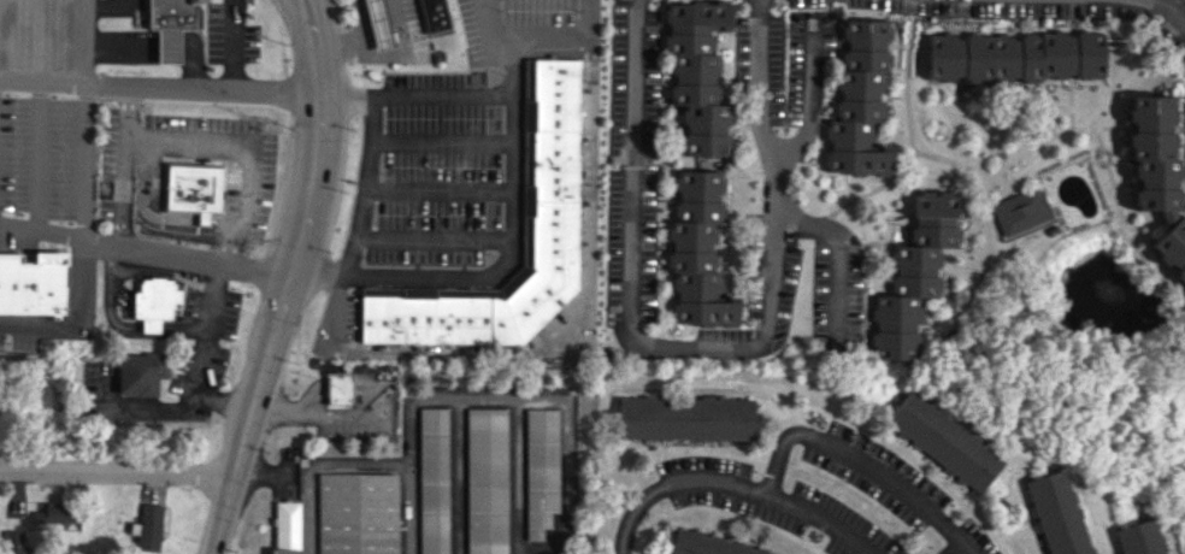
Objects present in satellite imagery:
road: (299, 6)
road: (312, 6)
road: (1172, 6)
road: (104, 7)
parking lot: (119, 7)
road: (341, 13)
building: (175, 14)
building: (435, 16)
building: (379, 23)
road: (556, 31)
parking lot: (231, 33)
gas station: (405, 33)
road: (279, 35)
road: (41, 41)
road: (119, 46)
building: (167, 46)
road: (167, 46)
road: (231, 48)
road: (384, 54)
building: (1013, 55)
road: (193, 63)
building: (696, 73)
road: (41, 90)
road: (199, 90)
road: (444, 95)
road: (810, 100)
building: (859, 100)
road: (81, 119)
parking lot: (33, 124)
road: (40, 142)
road: (249, 142)
road: (442, 142)
building: (1155, 152)
road: (370, 157)
parking lot: (450, 158)
road: (776, 161)
building: (553, 163)
road: (122, 165)
parking lot: (250, 170)
building: (193, 187)
road: (311, 187)
road: (40, 193)
road: (441, 193)
building: (936, 207)
building: (1020, 211)
road: (166, 218)
building: (202, 218)
road: (202, 218)
road: (146, 219)
road: (214, 225)
road: (435, 238)
road: (630, 238)
road: (514, 242)
building: (1172, 247)
building: (697, 249)
road: (838, 251)
road: (184, 257)
road: (78, 281)
building: (30, 285)
building: (909, 288)
building: (153, 297)
parking lot: (165, 300)
road: (206, 329)
building: (142, 371)
building: (338, 387)
road: (496, 396)
road: (179, 403)
road: (320, 412)
building: (688, 418)
road: (246, 422)
building: (945, 441)
road: (862, 460)
road: (316, 462)
building: (541, 470)
road: (116, 471)
building: (434, 481)
building: (487, 481)
road: (733, 484)
building: (54, 511)
road: (222, 513)
building: (358, 513)
building: (1060, 513)
road: (307, 517)
building: (285, 526)
building: (148, 528)
building: (1143, 537)
building: (14, 542)
building: (711, 544)

